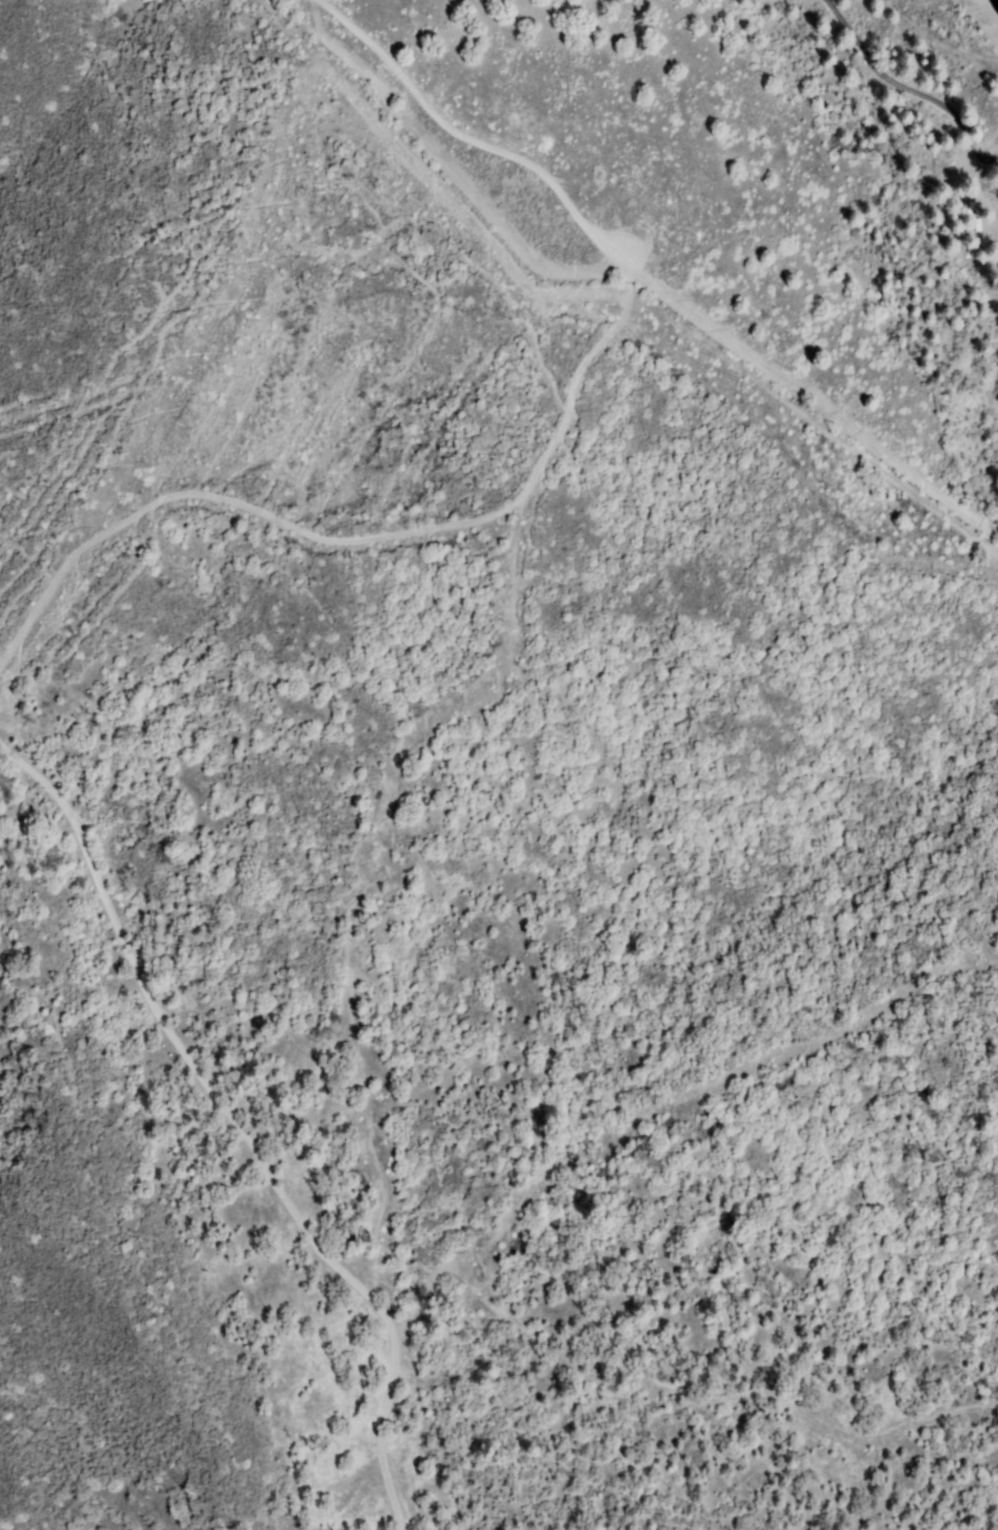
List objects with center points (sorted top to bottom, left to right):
road: (913, 87)
road: (480, 135)
road: (355, 538)
road: (239, 1126)

